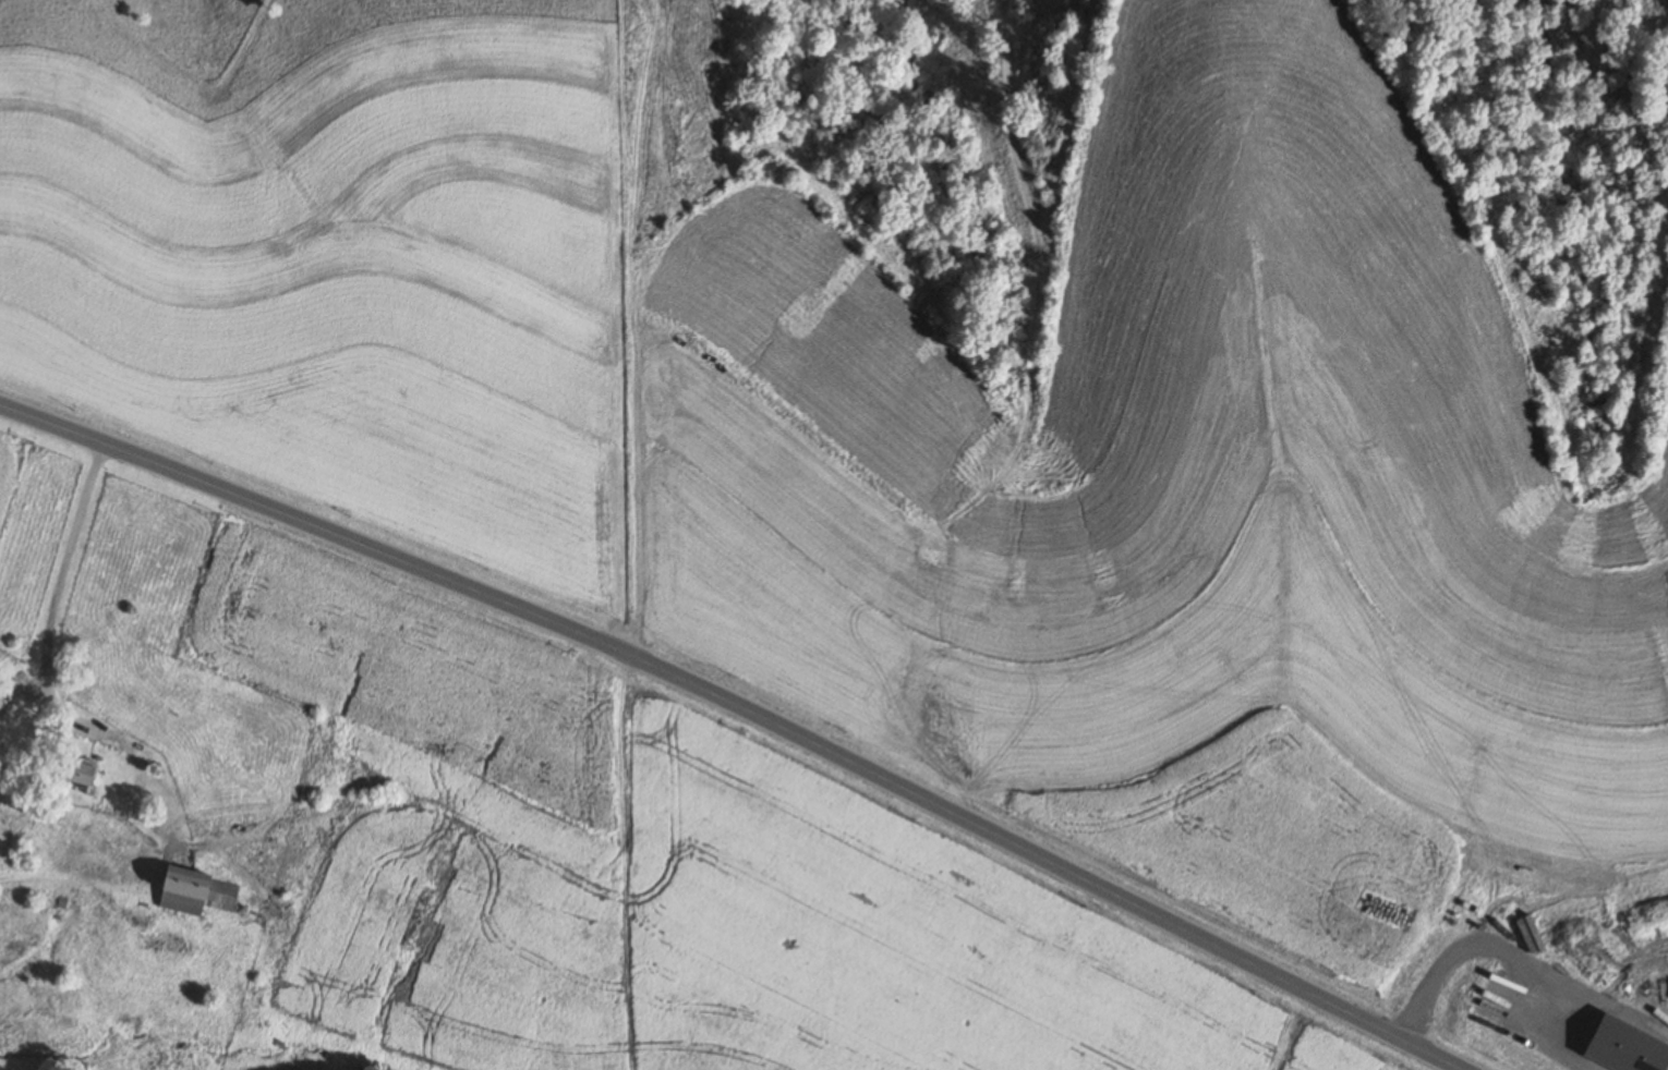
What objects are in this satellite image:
road: (50, 589)
road: (745, 708)
building: (83, 771)
building: (200, 892)

